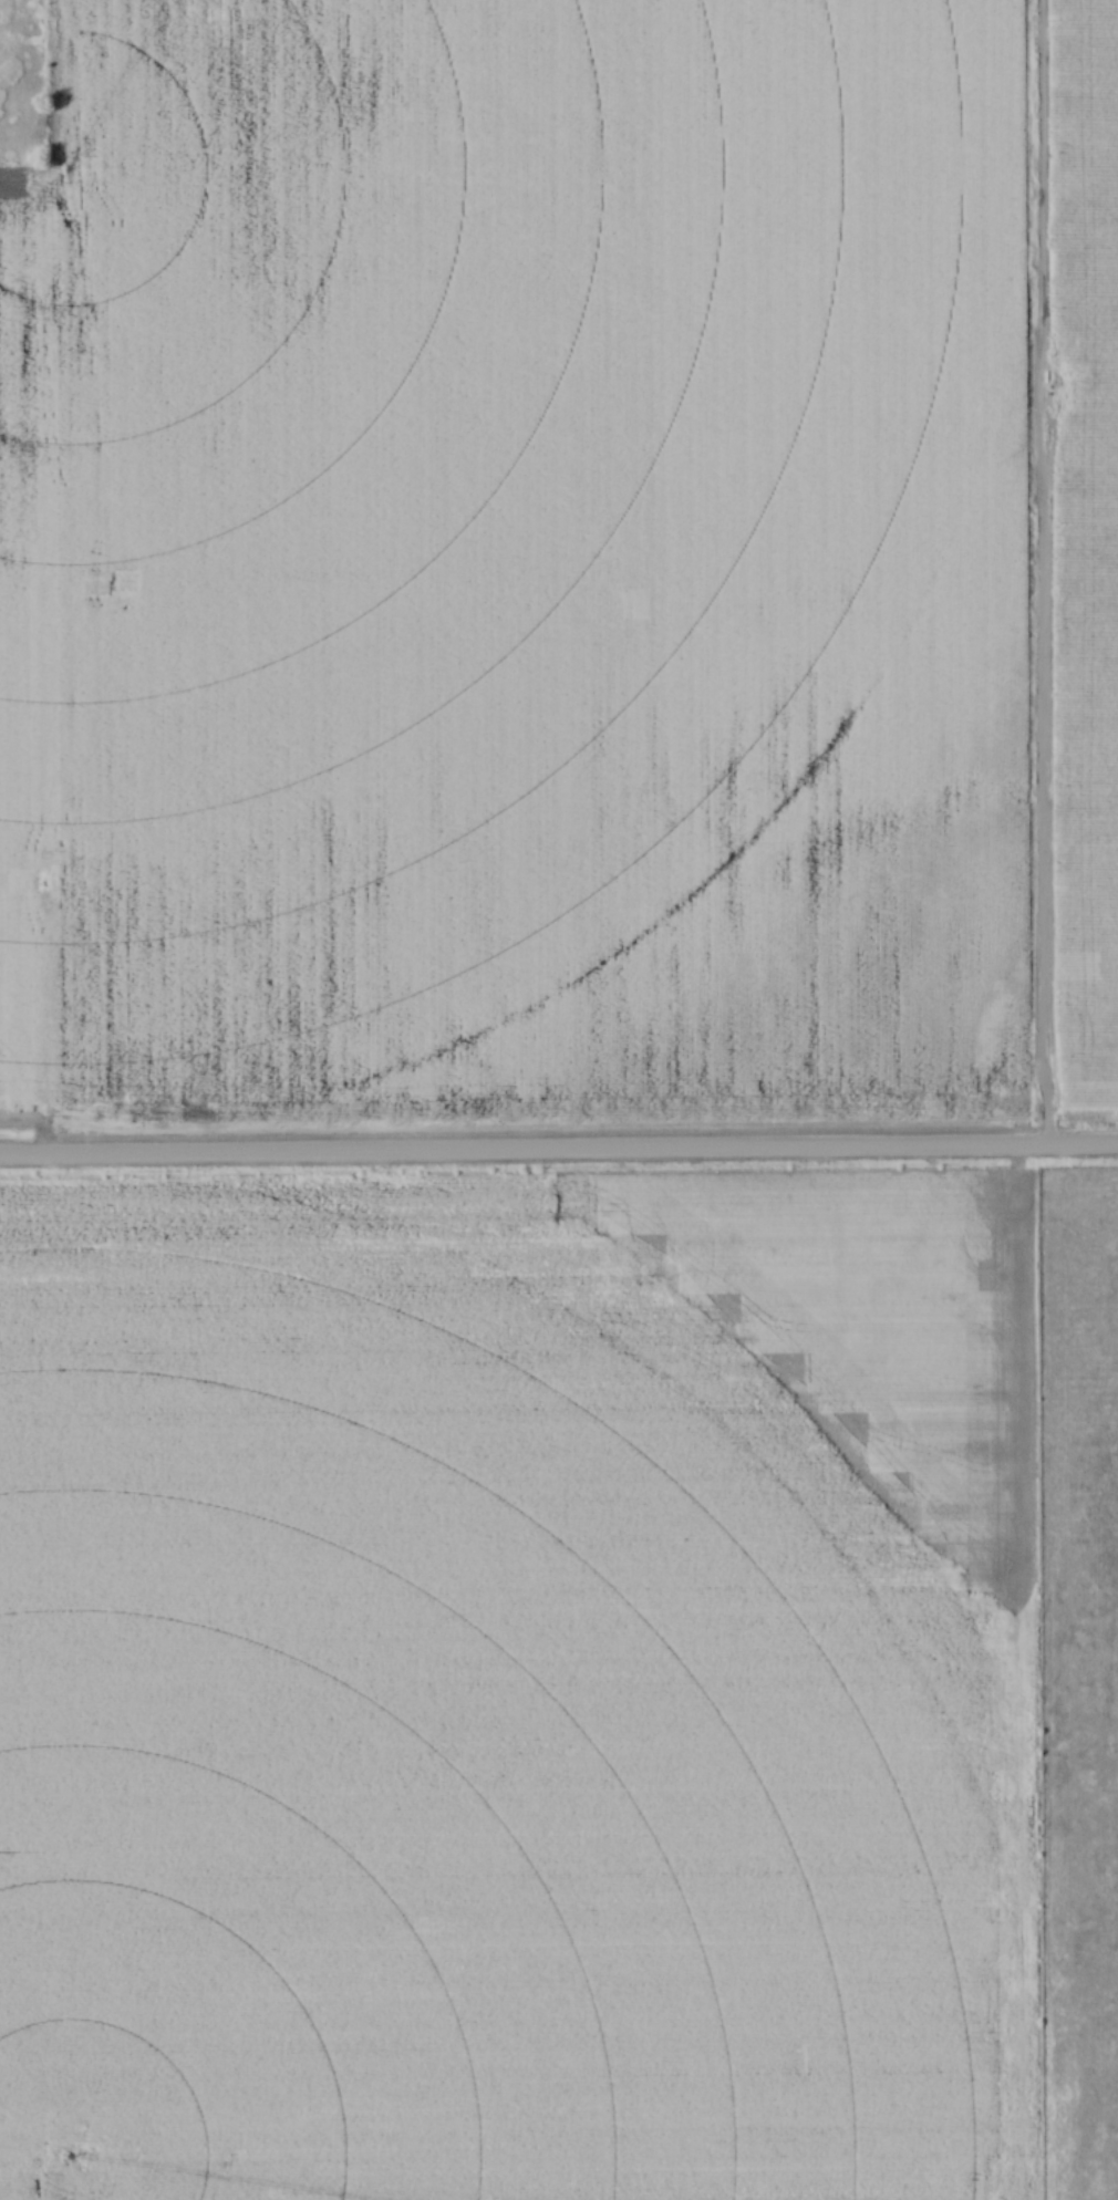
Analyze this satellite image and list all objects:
road: (559, 1155)

